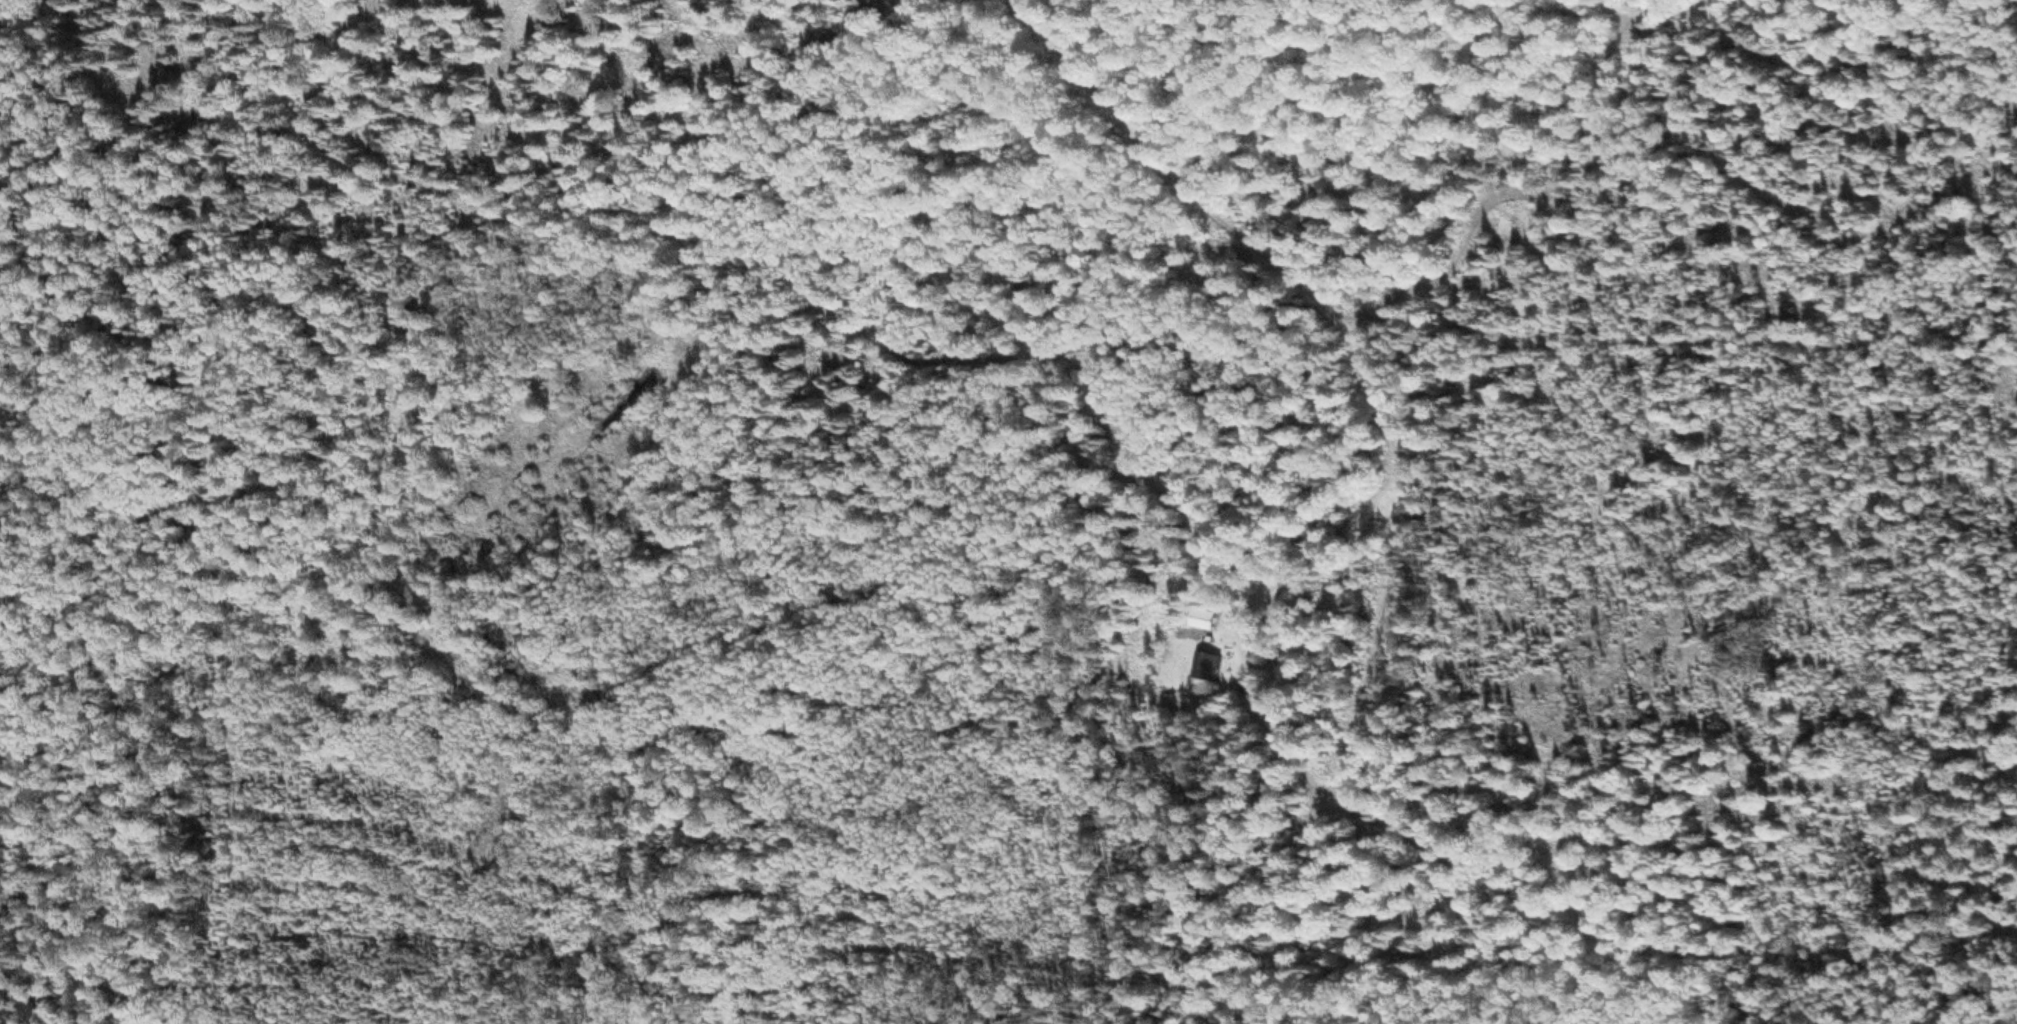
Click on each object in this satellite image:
road: (1385, 490)
building: (1204, 622)
building: (1209, 669)

